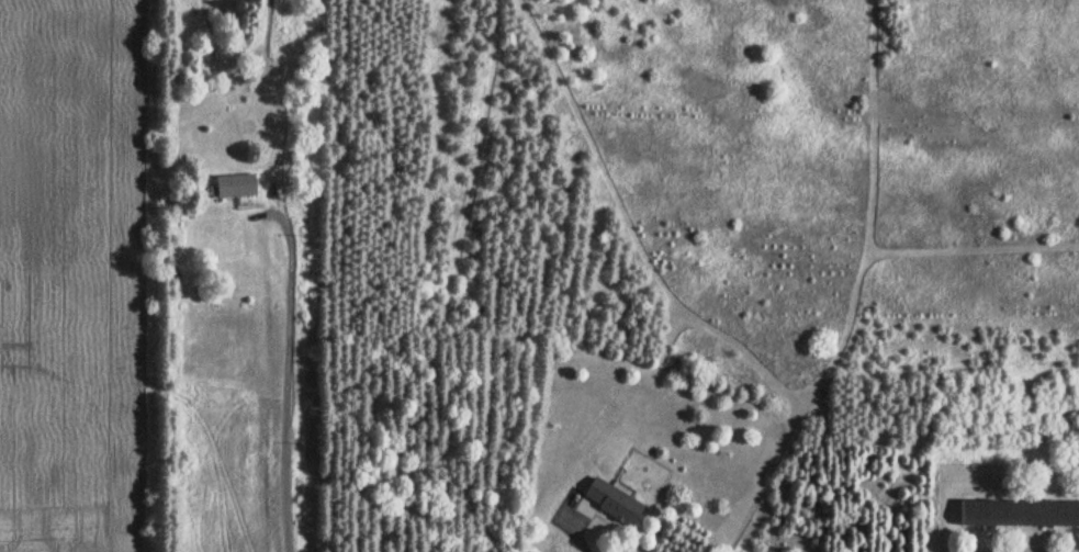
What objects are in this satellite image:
building: (236, 188)
road: (288, 375)
building: (609, 504)
building: (1019, 515)
road: (575, 537)

